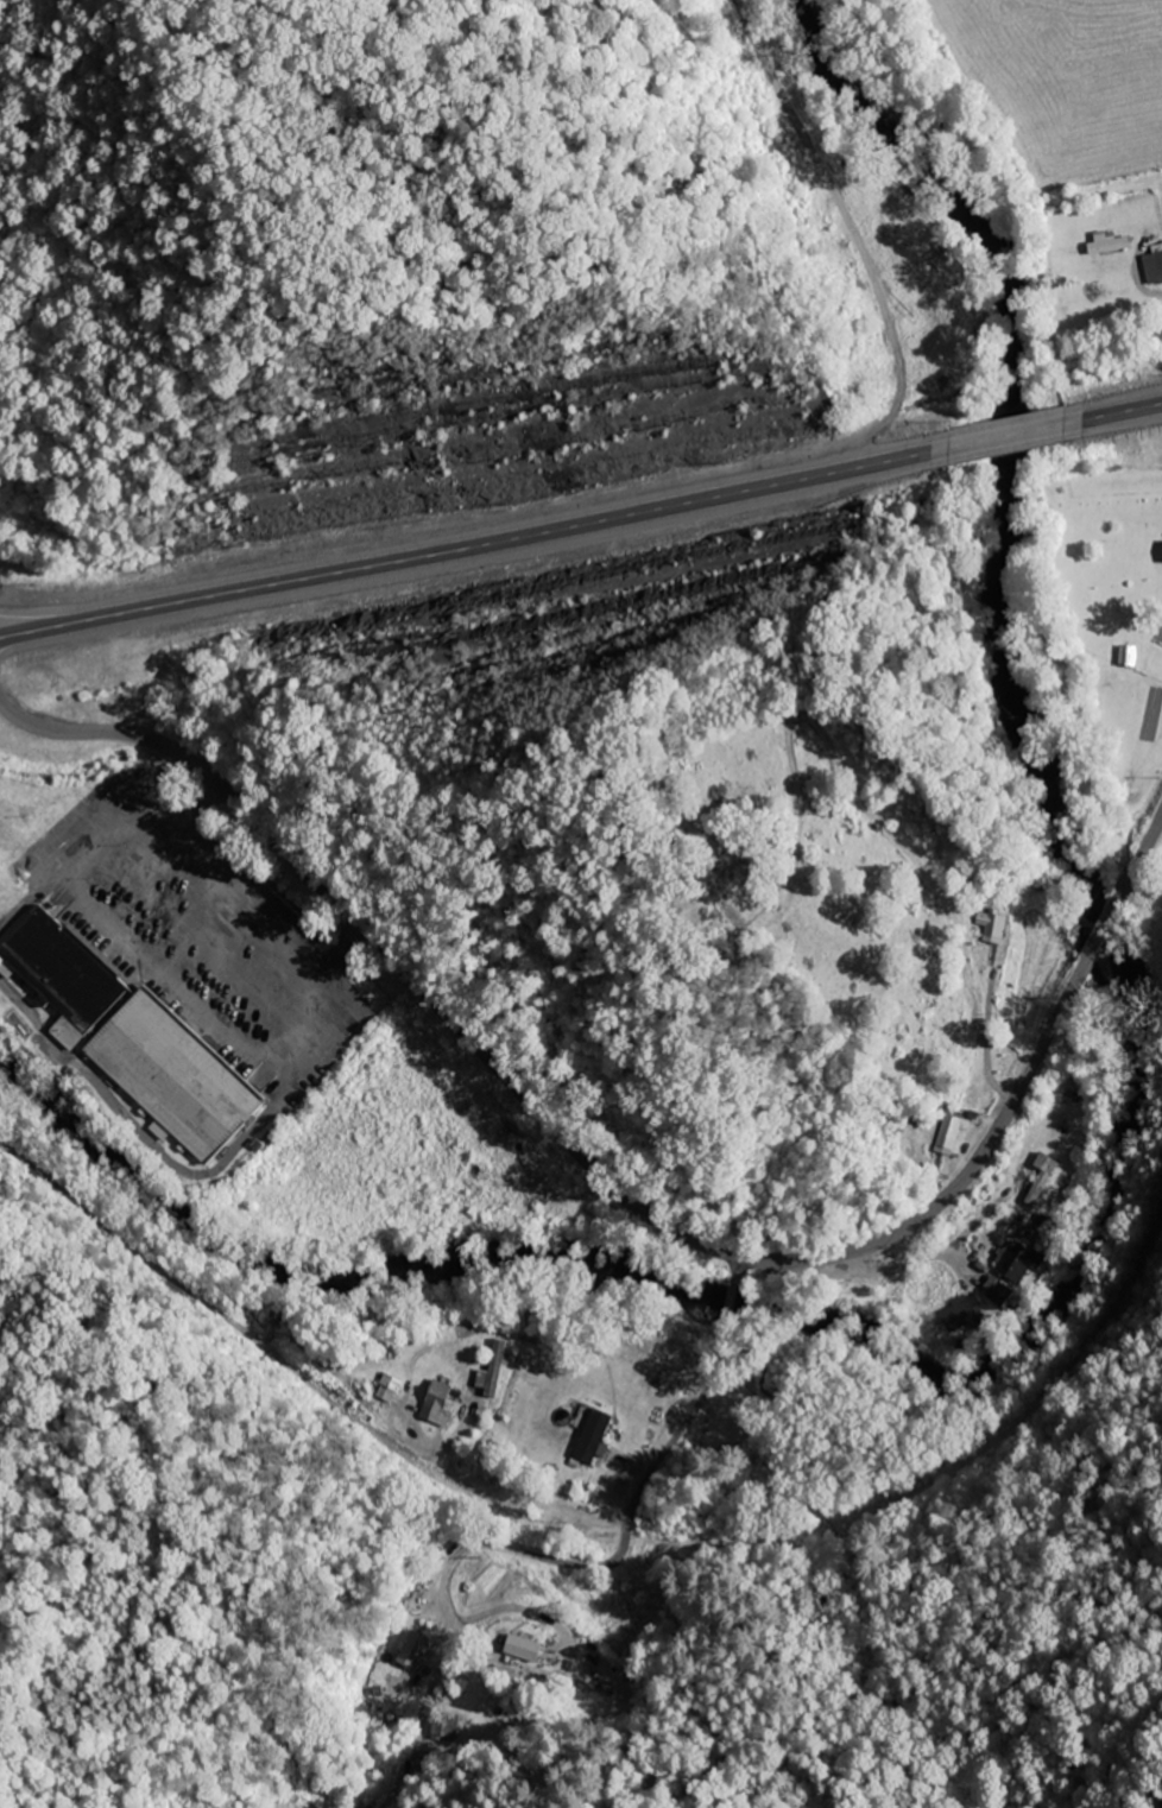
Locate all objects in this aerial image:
building: (1110, 241)
building: (1152, 264)
road: (1114, 413)
road: (1006, 436)
road: (473, 544)
building: (1126, 652)
road: (1152, 845)
road: (1116, 917)
building: (991, 923)
building: (133, 1035)
road: (558, 1130)
building: (947, 1130)
building: (1037, 1176)
river: (1095, 1188)
building: (1013, 1258)
road: (737, 1275)
building: (993, 1290)
road: (728, 1308)
building: (958, 1311)
building: (495, 1365)
building: (436, 1398)
building: (593, 1434)
road: (627, 1518)
building: (410, 1646)
building: (524, 1648)

